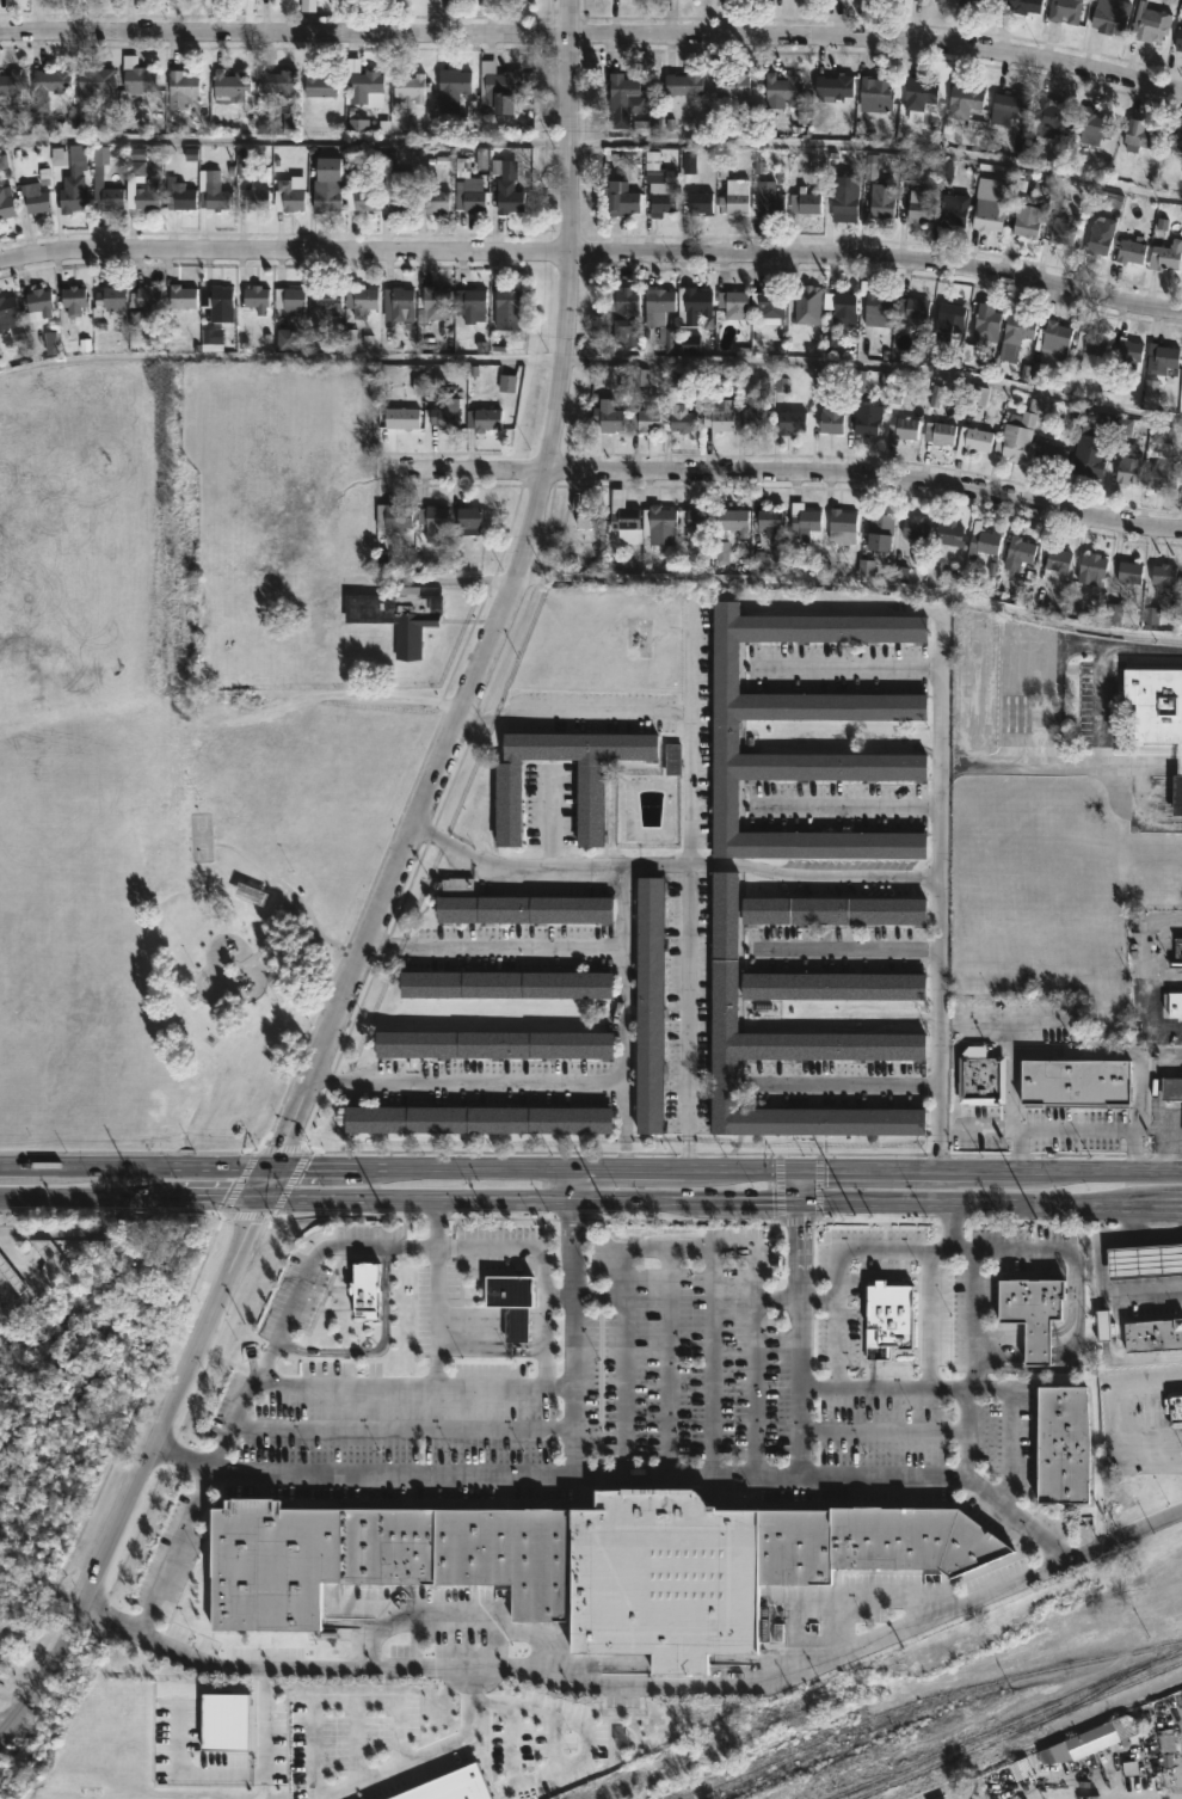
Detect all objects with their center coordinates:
building: (308, 0)
building: (889, 0)
building: (918, 0)
building: (940, 0)
building: (985, 0)
building: (965, 1)
building: (487, 5)
building: (1024, 5)
building: (1069, 12)
building: (1109, 19)
building: (1151, 26)
road: (593, 30)
building: (1178, 37)
building: (137, 76)
building: (97, 79)
building: (51, 81)
building: (278, 81)
building: (361, 81)
building: (728, 81)
building: (320, 84)
building: (684, 84)
building: (12, 85)
building: (411, 85)
building: (229, 87)
building: (833, 87)
building: (180, 88)
building: (783, 88)
building: (455, 91)
building: (503, 91)
building: (921, 93)
building: (626, 94)
building: (876, 96)
building: (967, 106)
building: (1010, 108)
building: (1054, 116)
building: (1095, 127)
building: (1139, 134)
building: (1177, 135)
road: (593, 147)
building: (98, 176)
building: (73, 185)
building: (395, 185)
building: (141, 188)
building: (664, 192)
building: (876, 192)
building: (179, 194)
building: (327, 194)
building: (472, 194)
building: (289, 195)
building: (214, 196)
building: (509, 196)
building: (735, 196)
building: (35, 197)
building: (844, 197)
building: (256, 198)
building: (437, 198)
building: (622, 198)
building: (362, 199)
building: (767, 199)
building: (700, 201)
building: (805, 201)
building: (5, 202)
building: (922, 205)
building: (954, 210)
building: (990, 214)
building: (1027, 220)
building: (1064, 231)
building: (1100, 235)
building: (1132, 248)
road: (592, 251)
building: (1169, 253)
building: (183, 295)
building: (221, 295)
building: (325, 296)
building: (257, 297)
building: (289, 297)
building: (73, 299)
building: (107, 299)
building: (507, 299)
building: (361, 300)
building: (876, 300)
building: (38, 302)
building: (147, 302)
building: (697, 302)
building: (807, 302)
building: (402, 303)
building: (470, 303)
building: (658, 303)
building: (734, 303)
building: (435, 305)
building: (769, 305)
building: (842, 306)
building: (913, 309)
building: (626, 313)
building: (11, 317)
building: (952, 319)
building: (987, 324)
building: (1018, 326)
building: (1055, 338)
building: (1092, 342)
building: (1128, 352)
building: (1161, 357)
road: (592, 362)
building: (827, 406)
building: (447, 407)
building: (720, 416)
building: (402, 417)
building: (868, 417)
building: (484, 418)
building: (608, 418)
building: (646, 418)
building: (683, 419)
building: (757, 419)
building: (792, 420)
building: (903, 428)
building: (941, 432)
building: (1017, 435)
building: (973, 440)
building: (1052, 453)
building: (1089, 458)
building: (1129, 463)
building: (1164, 477)
road: (786, 479)
building: (393, 515)
building: (591, 516)
building: (433, 520)
building: (466, 520)
building: (733, 520)
building: (626, 521)
building: (696, 521)
building: (772, 521)
building: (805, 521)
building: (659, 523)
building: (843, 524)
building: (916, 528)
building: (880, 529)
building: (950, 533)
building: (983, 539)
building: (1020, 552)
building: (1059, 558)
building: (1094, 566)
building: (1131, 571)
building: (1165, 578)
road: (851, 592)
building: (1115, 613)
building: (396, 616)
road: (692, 663)
building: (1153, 704)
road: (648, 708)
building: (726, 736)
building: (672, 757)
road: (1073, 763)
park: (158, 793)
building: (1178, 799)
building: (509, 804)
road: (850, 805)
road: (549, 815)
road: (940, 827)
road: (431, 831)
park: (198, 835)
road: (562, 862)
road: (811, 876)
building: (250, 891)
building: (282, 896)
road: (383, 898)
building: (524, 909)
building: (835, 910)
road: (685, 921)
road: (384, 939)
road: (549, 943)
road: (847, 945)
building: (1176, 953)
road: (1143, 978)
road: (1162, 982)
building: (505, 984)
building: (835, 987)
building: (1172, 1003)
building: (650, 1005)
road: (1005, 1021)
road: (1012, 1036)
building: (494, 1044)
building: (786, 1050)
road: (1076, 1051)
road: (683, 1056)
road: (330, 1075)
building: (980, 1076)
road: (553, 1079)
road: (848, 1080)
building: (1075, 1080)
building: (1175, 1093)
road: (621, 1107)
road: (1157, 1109)
building: (476, 1120)
road: (975, 1128)
road: (1075, 1130)
road: (682, 1150)
road: (281, 1152)
road: (622, 1153)
traffic signals: (799, 1167)
road: (591, 1168)
road: (799, 1180)
road: (240, 1181)
road: (289, 1181)
traffic signals: (799, 1195)
road: (589, 1196)
road: (1180, 1203)
road: (112, 1210)
power tower: (147, 1212)
road: (248, 1212)
power tower: (383, 1212)
road: (993, 1215)
road: (527, 1217)
power tower: (1034, 1218)
road: (798, 1220)
road: (70, 1227)
road: (1161, 1235)
road: (687, 1246)
road: (857, 1248)
road: (1075, 1259)
building: (1144, 1259)
gas station: (1144, 1259)
building: (50, 1260)
road: (313, 1264)
road: (1100, 1266)
building: (11, 1273)
road: (31, 1273)
building: (364, 1288)
road: (438, 1289)
road: (585, 1296)
road: (547, 1297)
road: (4, 1298)
building: (511, 1301)
road: (4, 1307)
building: (1030, 1312)
building: (887, 1316)
road: (926, 1318)
road: (574, 1321)
building: (1103, 1325)
road: (800, 1333)
building: (1152, 1333)
road: (836, 1343)
road: (1001, 1344)
road: (1036, 1344)
road: (378, 1346)
road: (669, 1359)
road: (708, 1359)
road: (367, 1383)
road: (968, 1384)
road: (930, 1388)
building: (1172, 1407)
road: (1128, 1416)
road: (402, 1426)
road: (885, 1431)
building: (1064, 1443)
road: (621, 1473)
building: (911, 1537)
road: (176, 1551)
building: (378, 1555)
building: (683, 1571)
road: (450, 1615)
railway: (1053, 1666)
railway: (1133, 1669)
road: (641, 1683)
railway: (1073, 1703)
building: (223, 1720)
railway: (1017, 1730)
building: (1092, 1738)
railway: (837, 1740)
railway: (799, 1745)
railway: (941, 1750)
railway: (750, 1755)
road: (546, 1768)
road: (235, 1775)
building: (453, 1786)
road: (313, 1791)
road: (1109, 1798)

